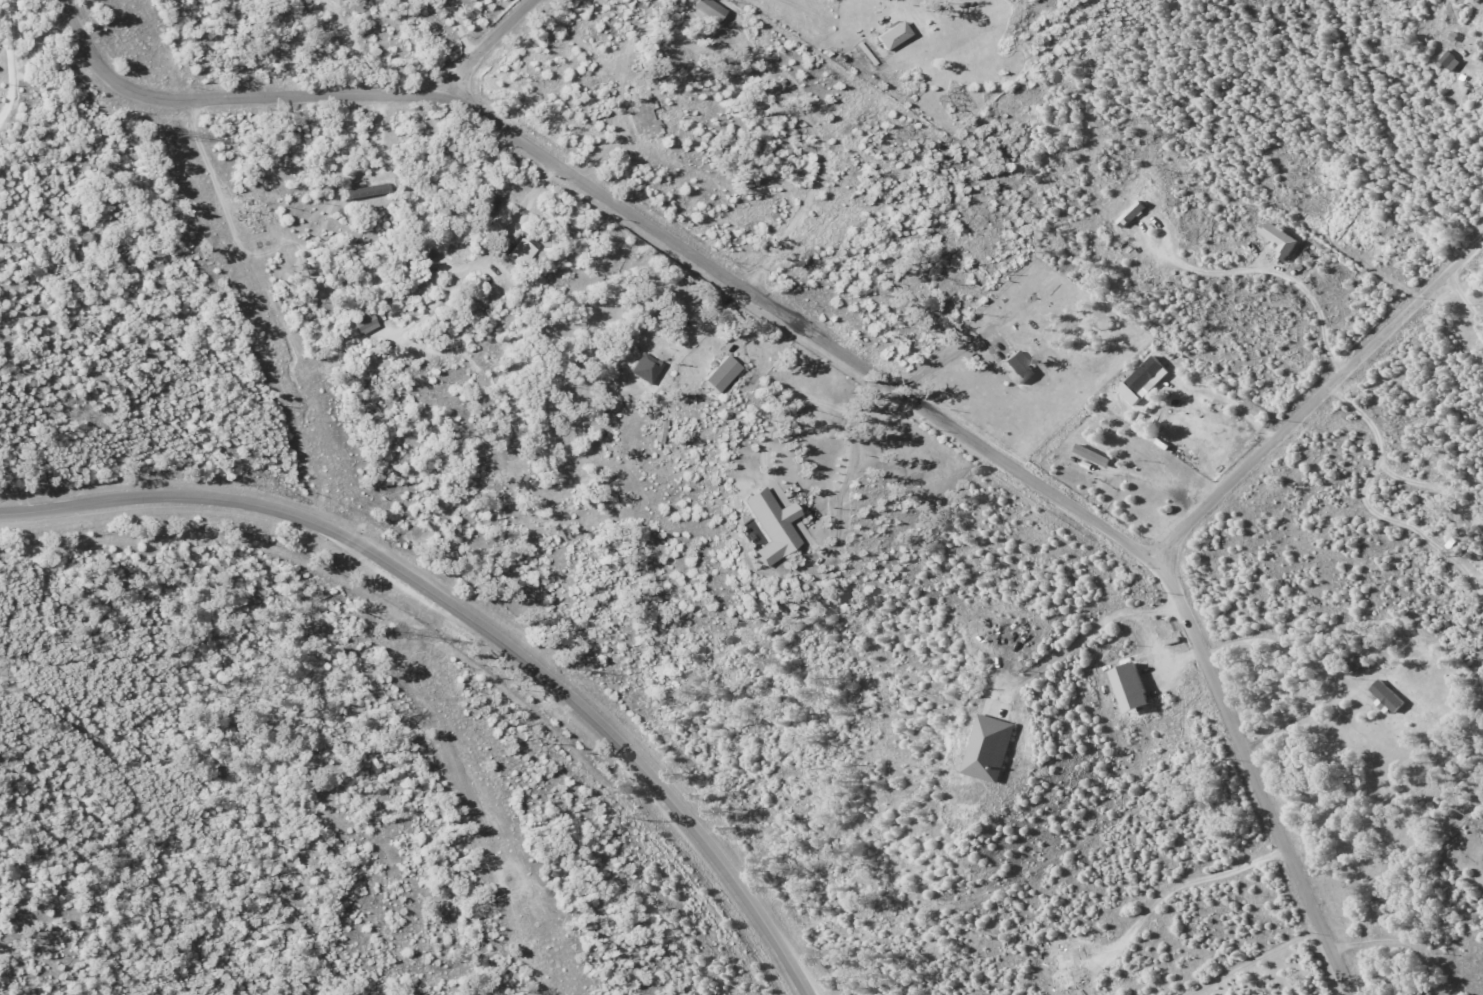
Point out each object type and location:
building: (707, 9)
road: (457, 33)
building: (890, 35)
road: (487, 42)
building: (1451, 61)
road: (8, 64)
road: (349, 75)
power tower: (177, 135)
building: (365, 190)
road: (99, 209)
building: (1131, 215)
building: (1279, 241)
building: (531, 243)
building: (517, 253)
road: (480, 262)
road: (1276, 270)
road: (1469, 294)
road: (820, 338)
road: (951, 357)
building: (1018, 367)
building: (644, 368)
building: (719, 374)
building: (1144, 381)
road: (1318, 402)
road: (773, 417)
road: (1353, 483)
road: (843, 487)
road: (779, 511)
building: (762, 524)
road: (475, 620)
power tower: (397, 633)
road: (1088, 636)
road: (1338, 685)
building: (1129, 687)
building: (1387, 697)
building: (982, 748)
road: (1194, 893)
road: (1270, 965)

